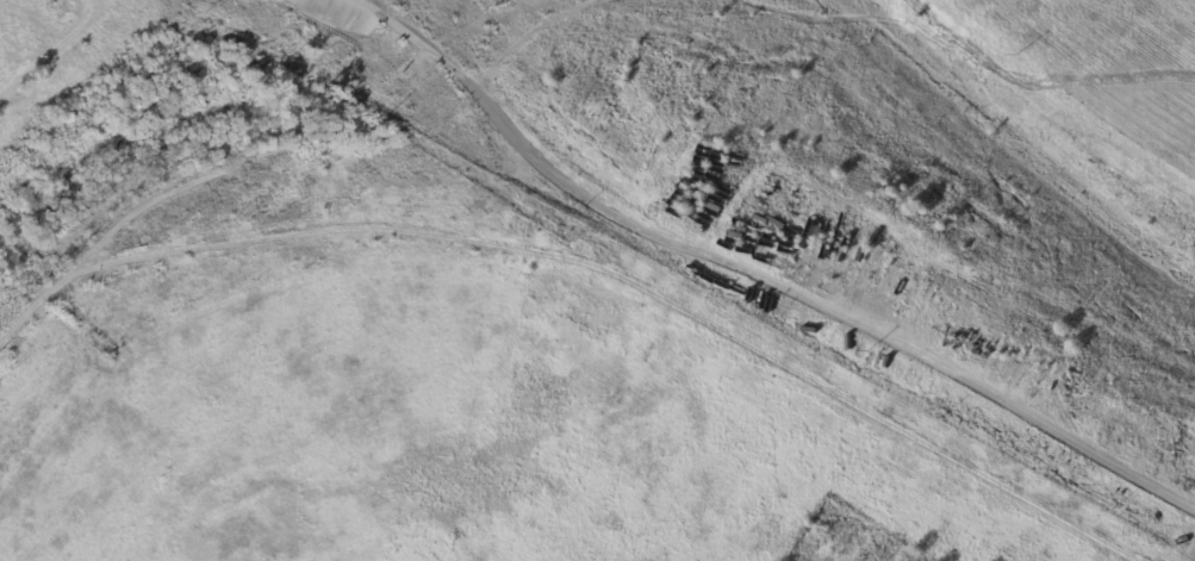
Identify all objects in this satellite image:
landfill: (900, 180)
road: (757, 275)
landfill: (405, 349)

